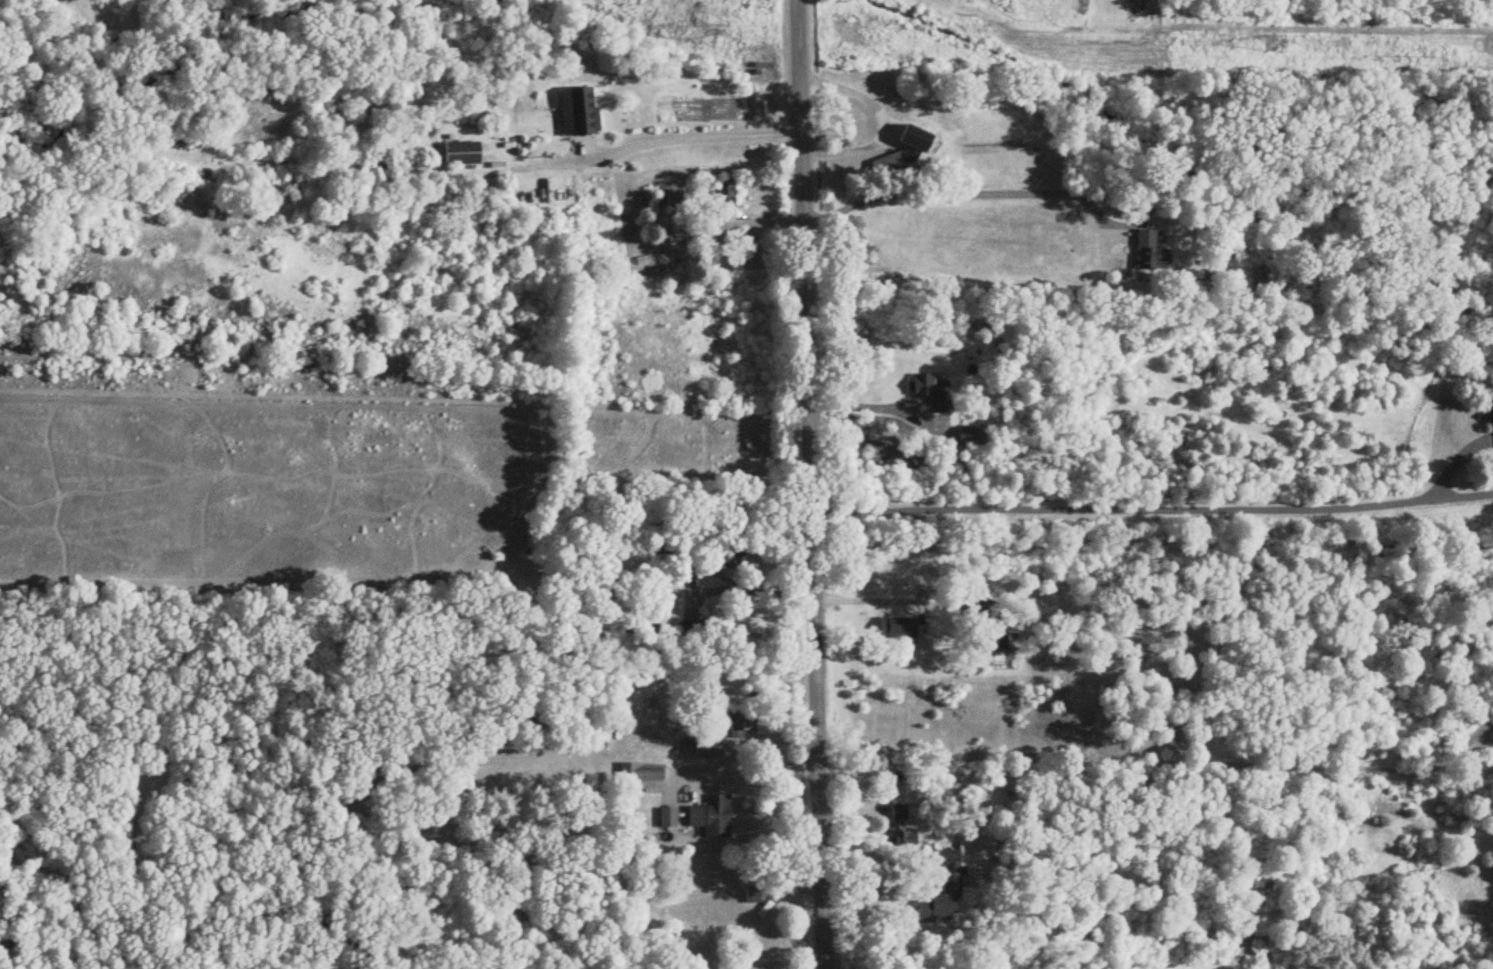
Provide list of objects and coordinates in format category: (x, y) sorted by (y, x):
building: (393, 10)
power tower: (705, 36)
power tower: (1267, 43)
building: (579, 113)
road: (886, 125)
building: (922, 142)
road: (649, 144)
building: (462, 155)
building: (890, 167)
road: (953, 194)
building: (724, 199)
building: (670, 200)
building: (1150, 253)
building: (1195, 276)
building: (934, 392)
road: (866, 408)
building: (1491, 414)
building: (971, 438)
road: (809, 484)
road: (1160, 509)
building: (667, 545)
building: (727, 552)
road: (724, 578)
building: (609, 587)
road: (875, 601)
building: (899, 628)
building: (739, 726)
building: (705, 751)
road: (748, 768)
building: (636, 778)
building: (900, 815)
building: (712, 818)
building: (903, 843)
building: (957, 880)
road: (873, 891)
building: (754, 896)

